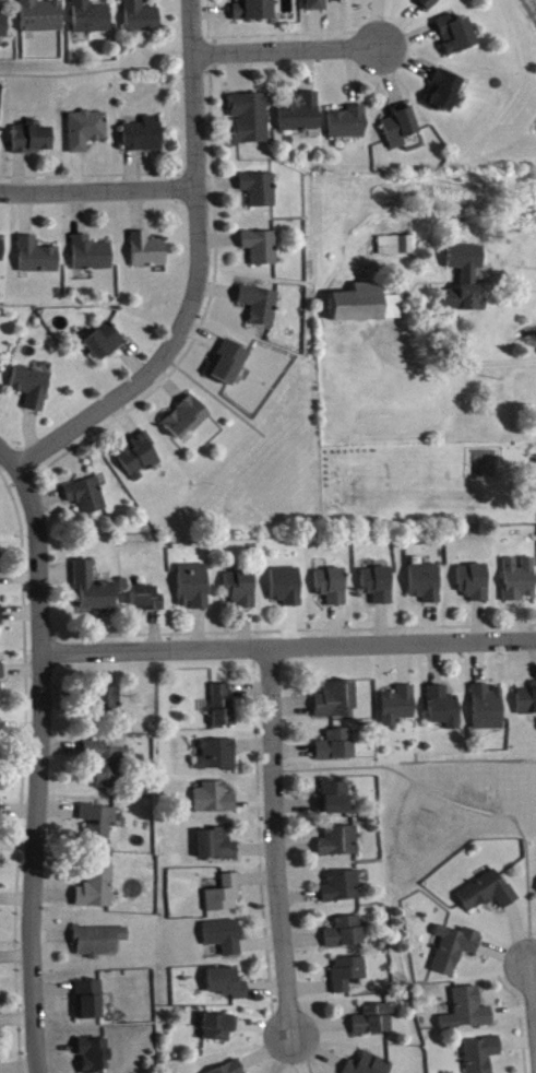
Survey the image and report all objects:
building: (429, 3)
building: (318, 5)
building: (254, 10)
building: (43, 16)
building: (142, 17)
building: (92, 19)
building: (4, 26)
building: (456, 35)
road: (289, 50)
building: (444, 93)
building: (302, 116)
building: (251, 119)
building: (348, 123)
building: (401, 127)
building: (87, 131)
building: (144, 137)
building: (33, 139)
building: (261, 190)
road: (98, 192)
building: (396, 246)
building: (262, 248)
building: (1, 250)
building: (150, 251)
building: (93, 256)
building: (38, 257)
road: (200, 275)
building: (466, 281)
building: (261, 306)
building: (368, 306)
building: (106, 343)
building: (229, 364)
road: (456, 366)
building: (33, 388)
building: (188, 418)
building: (141, 458)
road: (9, 459)
building: (88, 497)
building: (520, 580)
building: (475, 582)
building: (427, 583)
building: (379, 586)
building: (195, 587)
building: (288, 587)
building: (333, 587)
building: (95, 590)
building: (242, 590)
building: (148, 600)
building: (1, 617)
road: (289, 645)
building: (2, 679)
building: (337, 699)
building: (527, 701)
building: (111, 703)
building: (224, 706)
building: (400, 707)
building: (444, 708)
building: (488, 709)
building: (337, 746)
building: (218, 756)
building: (105, 764)
road: (41, 768)
building: (334, 799)
building: (215, 800)
building: (0, 810)
building: (102, 823)
road: (277, 841)
building: (341, 842)
building: (217, 846)
building: (344, 888)
building: (98, 889)
building: (488, 893)
building: (226, 896)
building: (347, 933)
building: (226, 936)
building: (100, 942)
building: (455, 950)
building: (349, 974)
road: (534, 983)
building: (229, 984)
building: (91, 1001)
building: (468, 1012)
building: (374, 1022)
building: (221, 1028)
building: (96, 1056)
building: (483, 1056)
building: (369, 1065)
building: (0, 1069)
building: (231, 1069)

